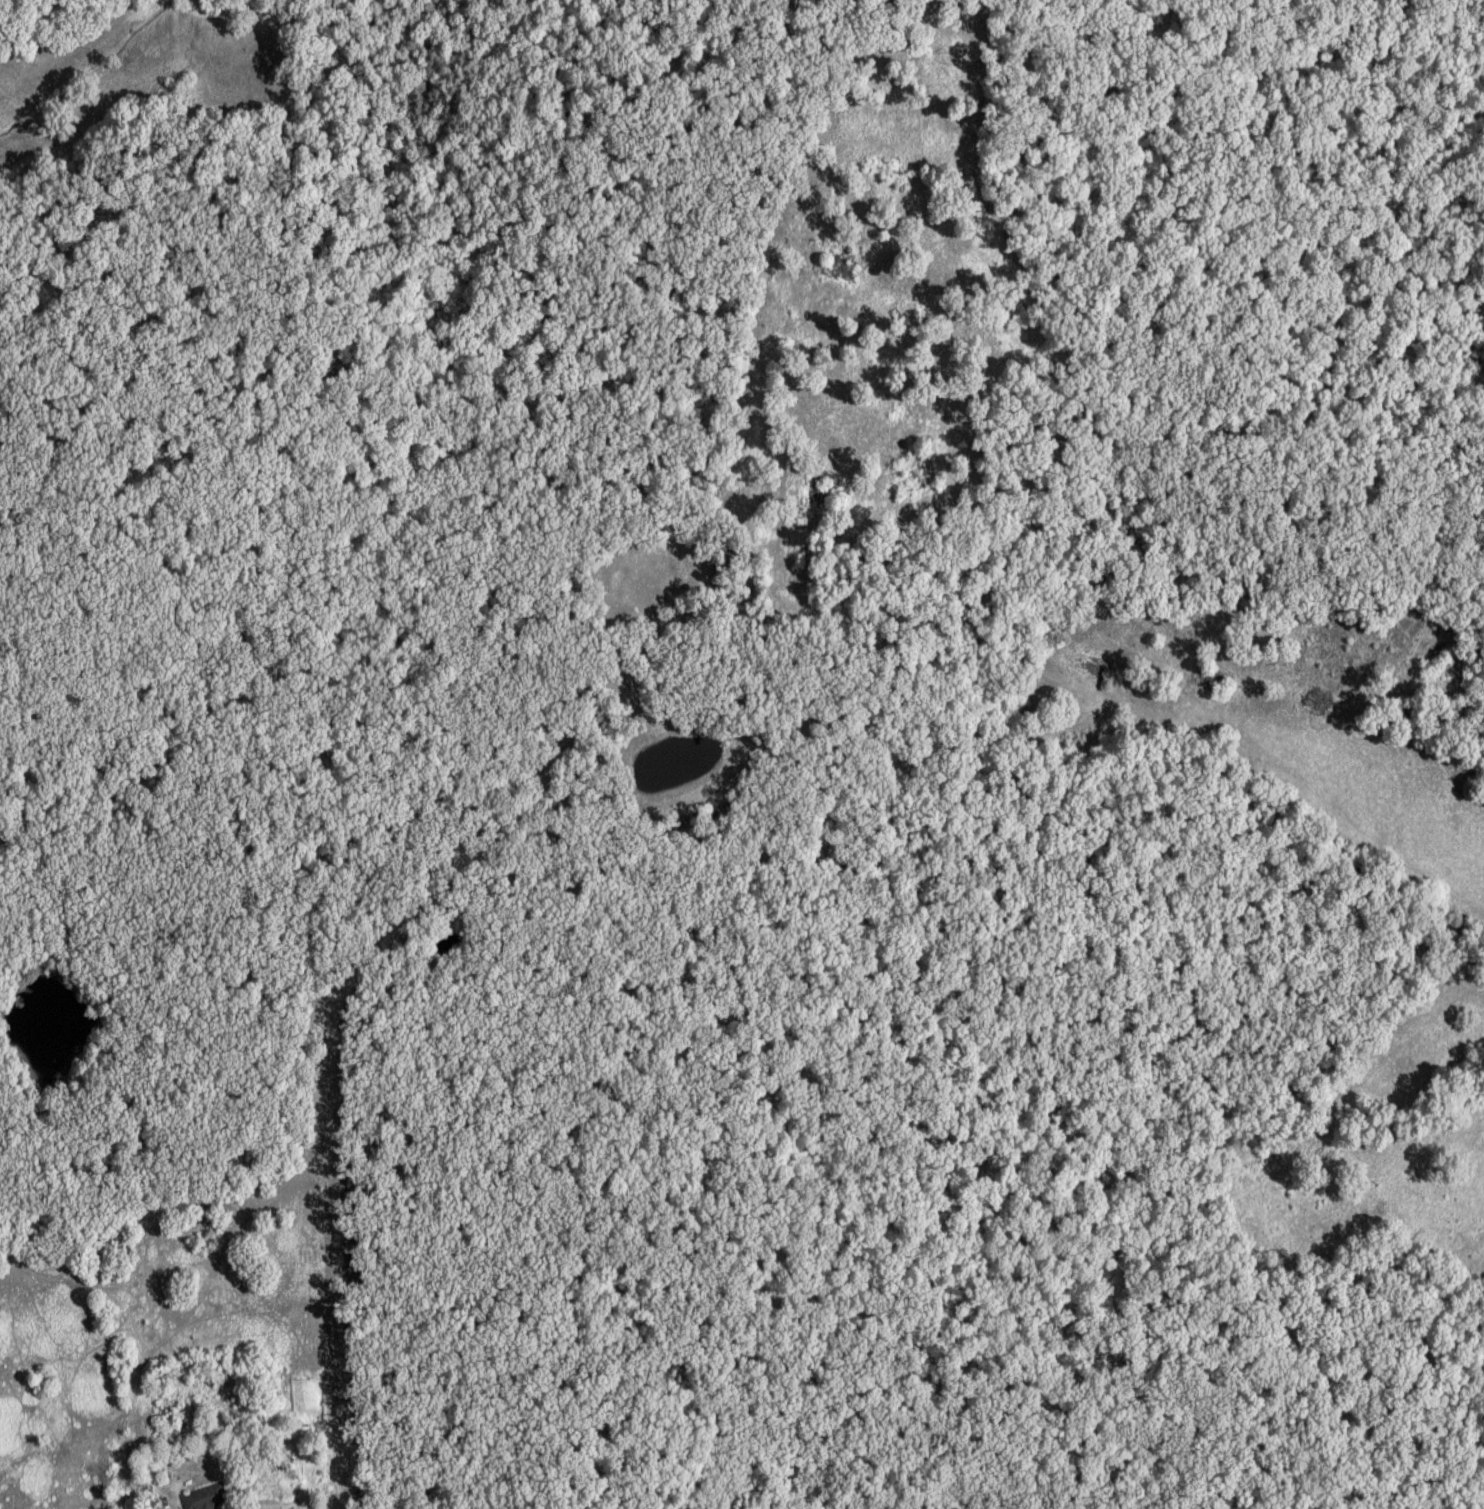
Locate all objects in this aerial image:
building: (280, 1489)
building: (206, 1497)
building: (150, 1505)

